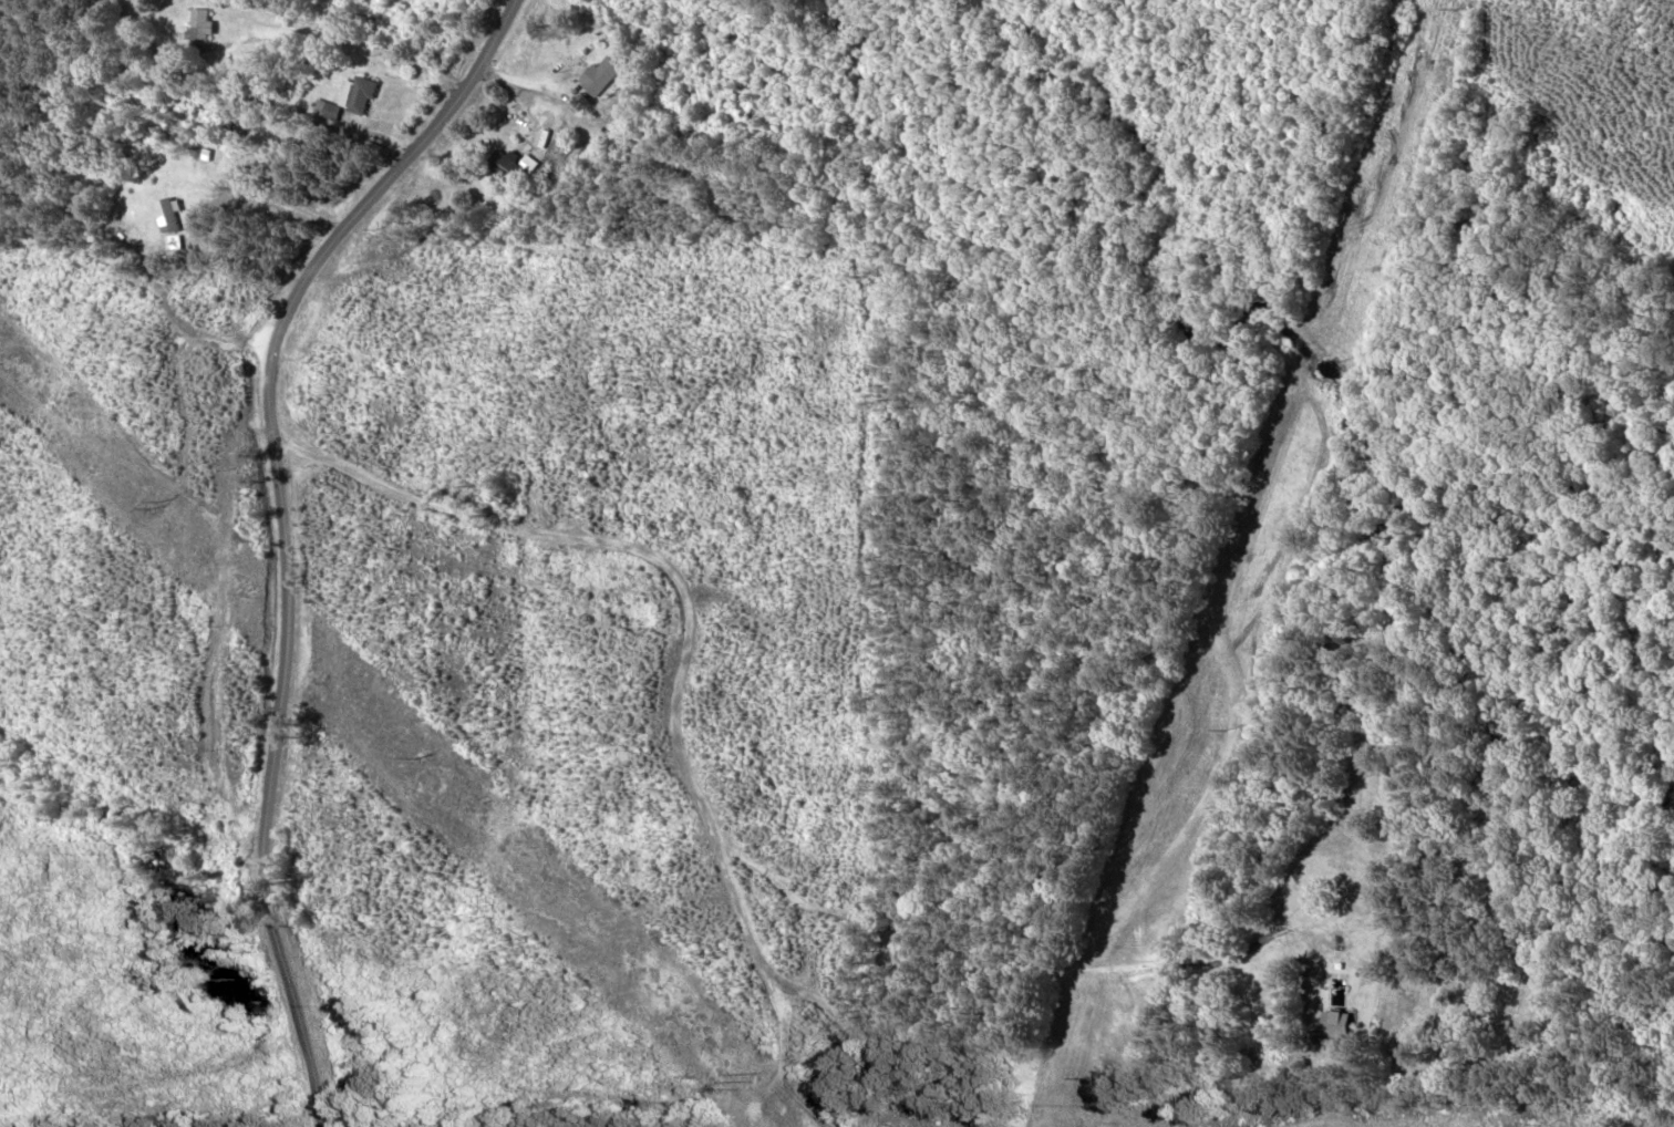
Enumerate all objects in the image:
building: (198, 31)
building: (601, 74)
building: (359, 95)
building: (508, 165)
road: (262, 530)
road: (699, 694)
building: (1337, 1025)

